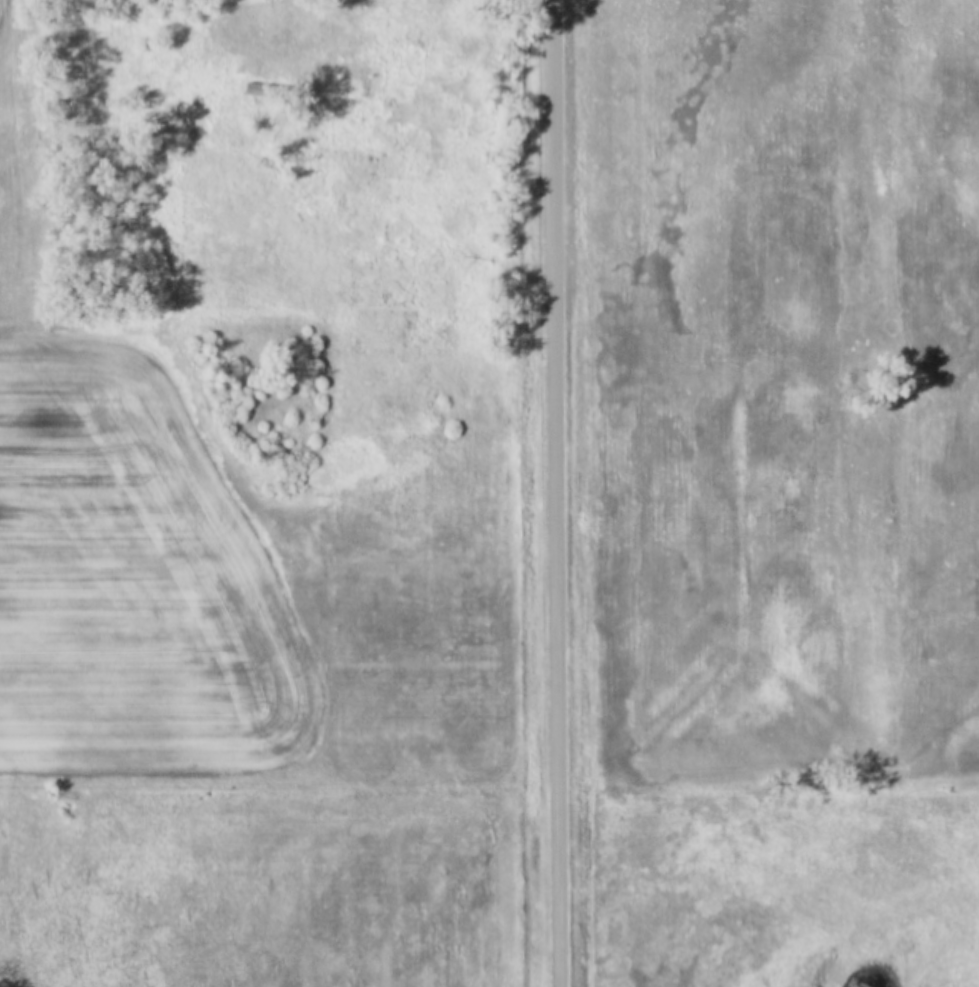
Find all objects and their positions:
road: (556, 493)

